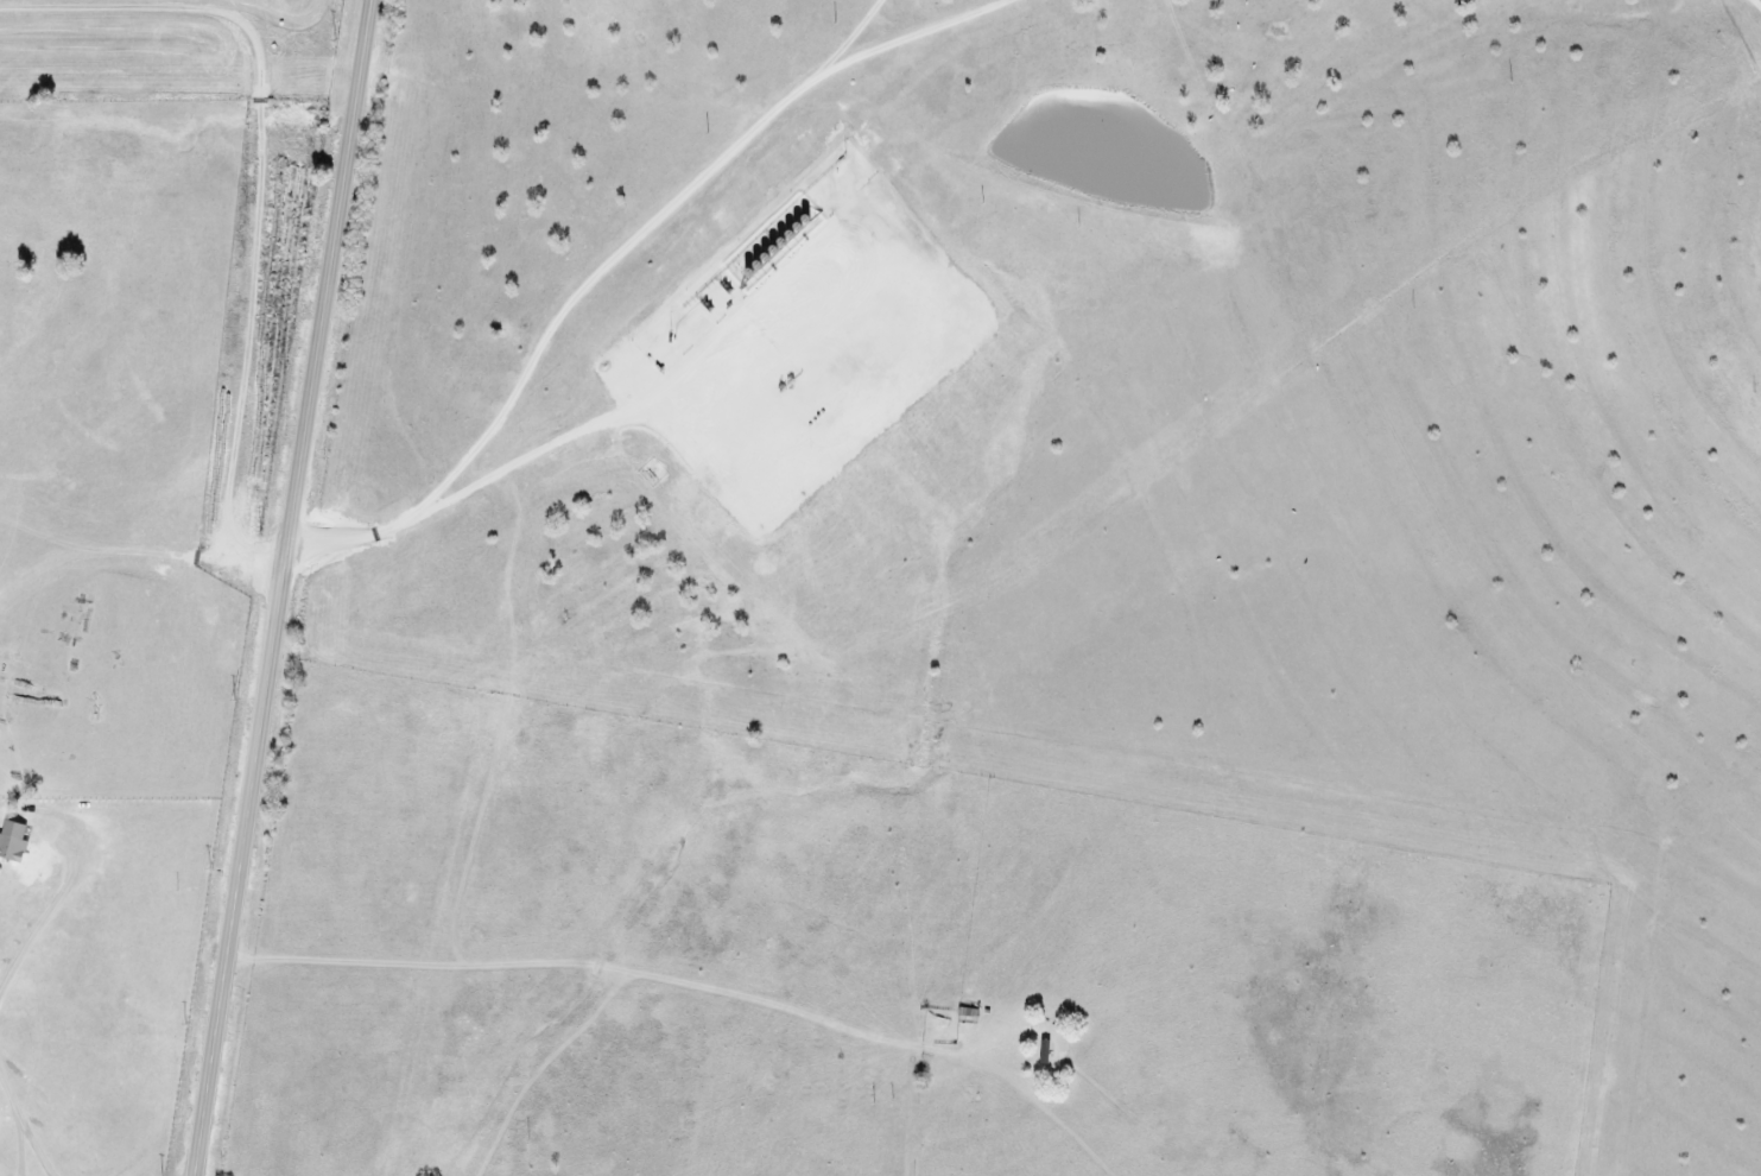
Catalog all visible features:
road: (1755, 5)
road: (241, 184)
road: (673, 202)
petroleum well: (786, 381)
road: (310, 421)
road: (457, 492)
building: (13, 841)
road: (215, 1007)
building: (1044, 1051)

